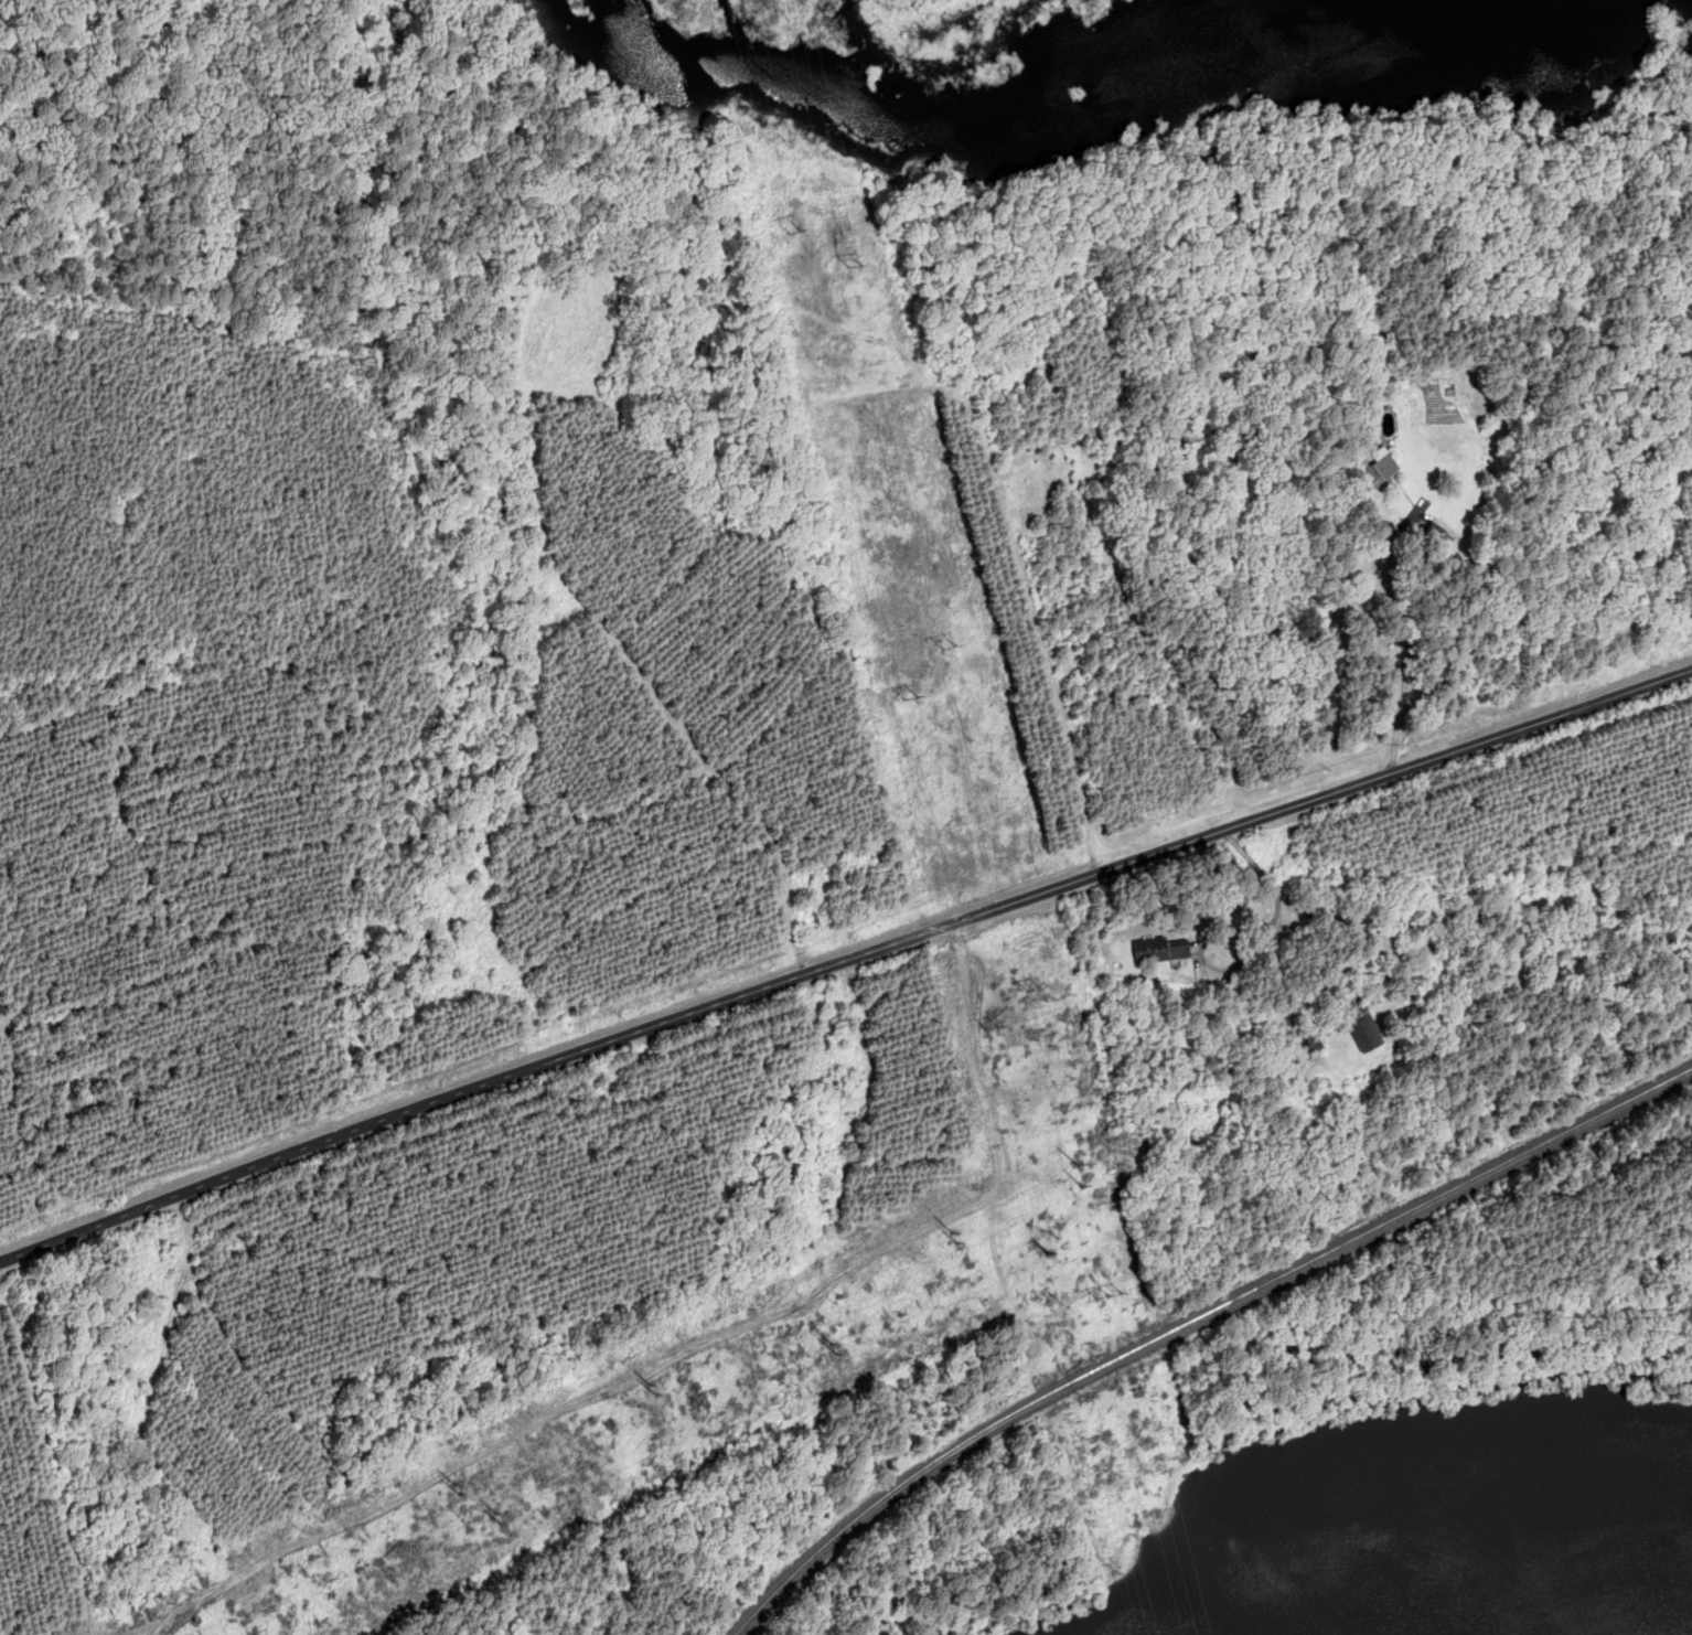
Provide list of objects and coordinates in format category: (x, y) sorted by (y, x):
power tower: (774, 157)
power tower: (855, 265)
road: (814, 314)
building: (1379, 471)
road: (1414, 520)
building: (1441, 531)
power tower: (947, 644)
power tower: (911, 697)
road: (1281, 911)
building: (1160, 948)
road: (843, 959)
power tower: (1034, 989)
building: (1359, 1019)
power tower: (993, 1032)
power tower: (1078, 1169)
power tower: (1042, 1228)
power tower: (954, 1239)
power tower: (1045, 1252)
power tower: (1111, 1291)
road: (1061, 1303)
railway: (1193, 1321)
power tower: (836, 1348)
power tower: (650, 1381)
power tower: (452, 1482)
power tower: (497, 1517)

